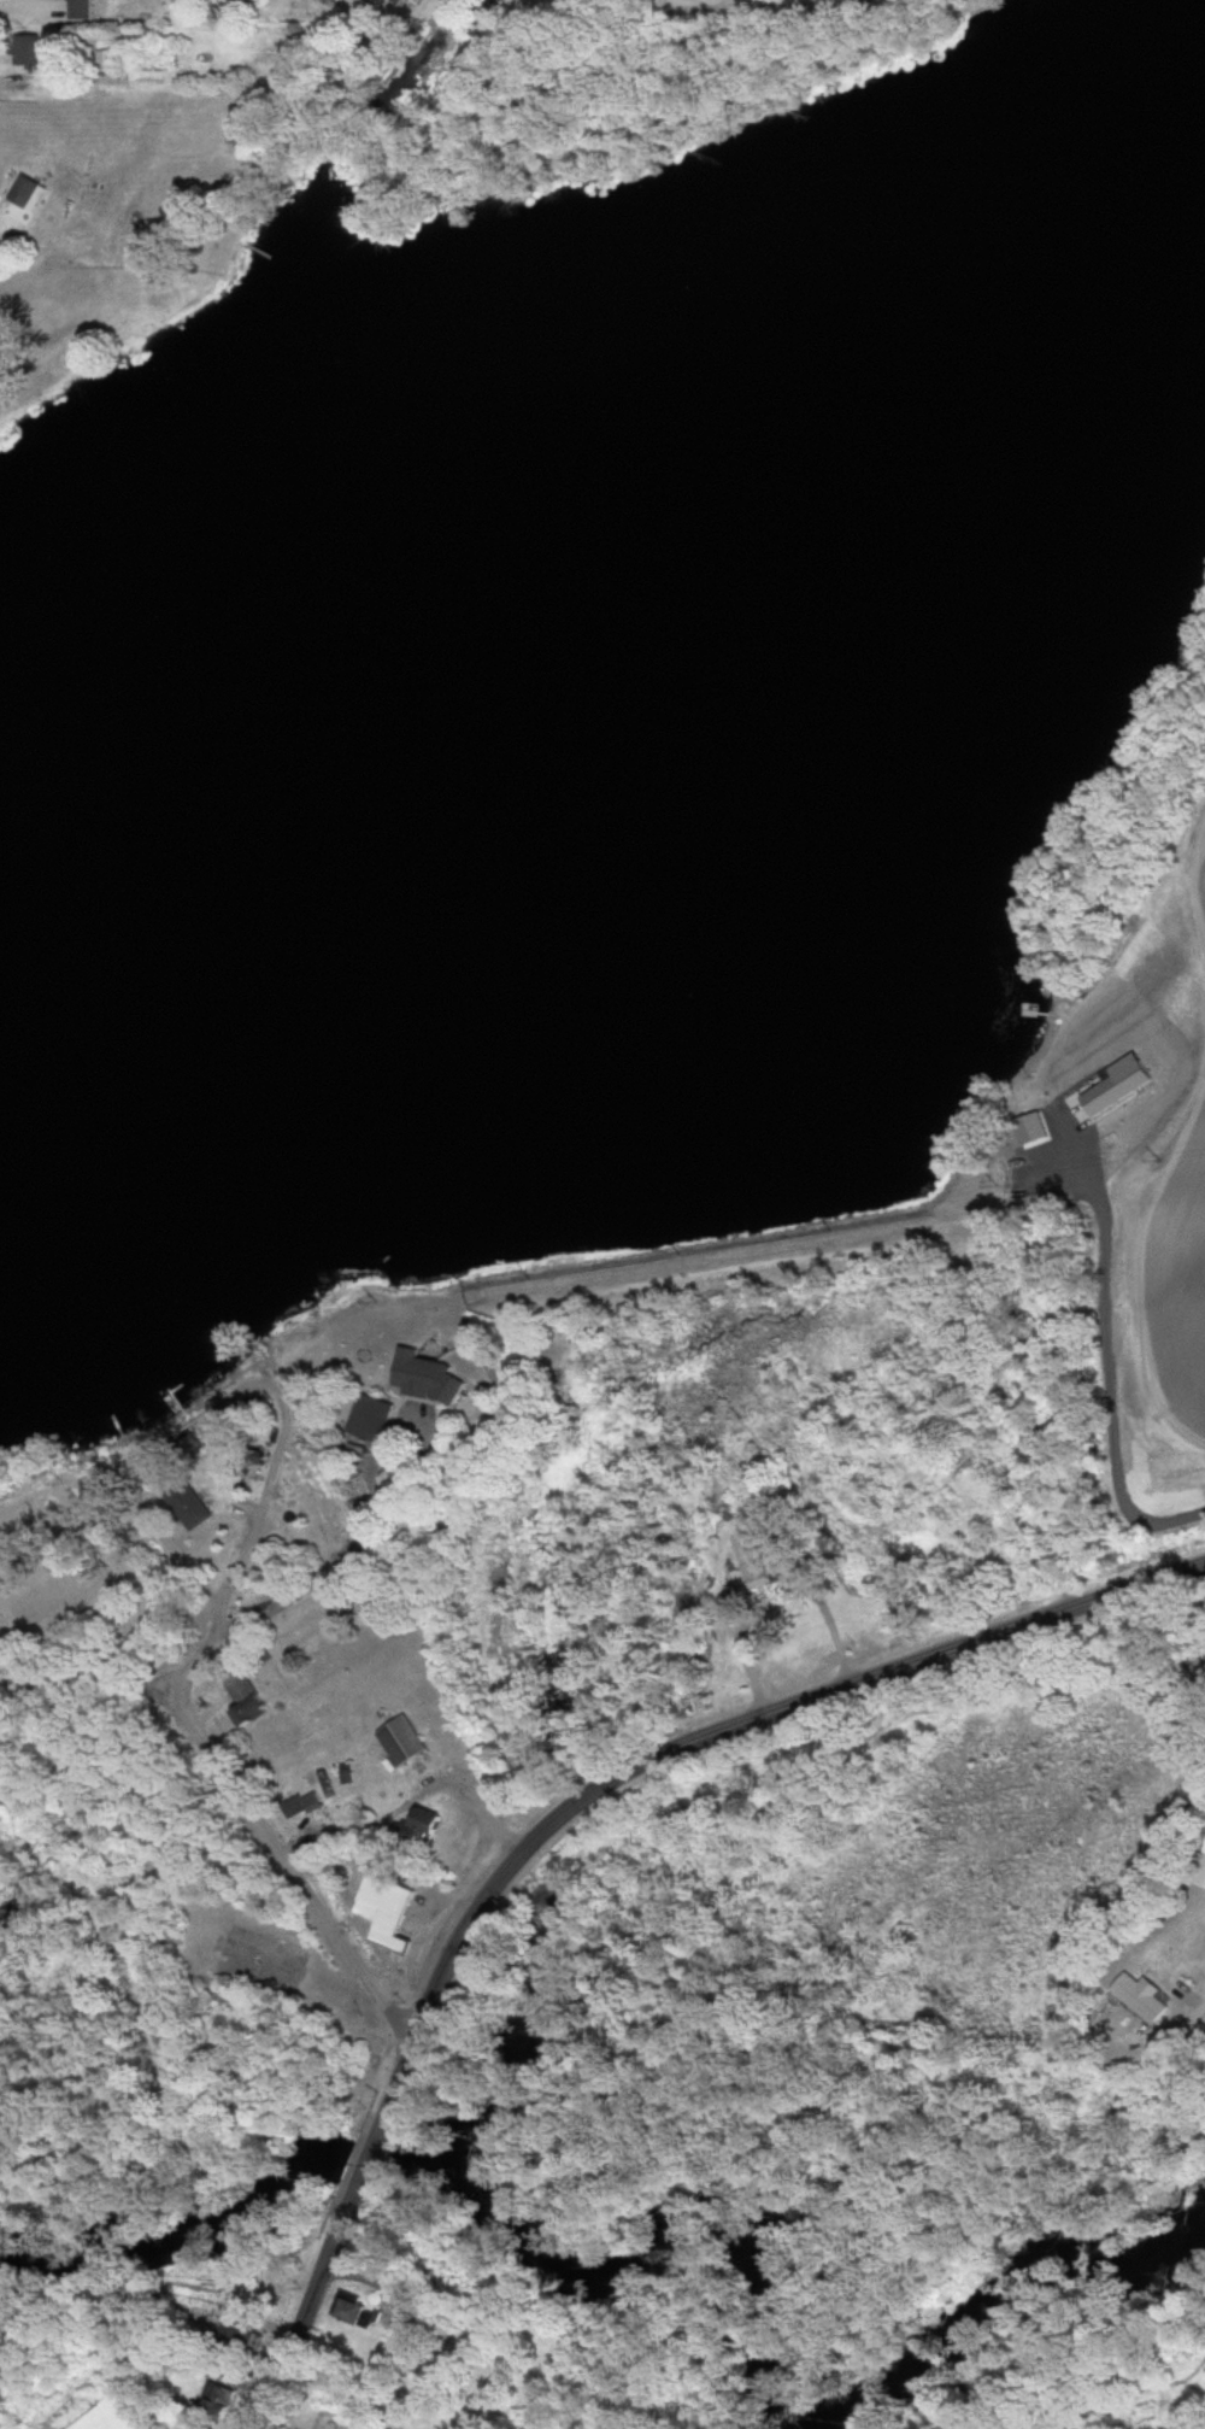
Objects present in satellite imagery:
building: (406, 0)
building: (81, 4)
road: (736, 11)
building: (29, 49)
building: (111, 60)
building: (28, 193)
river: (631, 639)
building: (451, 1389)
road: (392, 1469)
building: (192, 1508)
building: (745, 1577)
road: (223, 1579)
road: (277, 1612)
road: (972, 1643)
road: (87, 1679)
building: (254, 1709)
building: (404, 1741)
road: (471, 1802)
building: (305, 1803)
building: (427, 1824)
road: (502, 1866)
road: (287, 1867)
building: (384, 1911)
building: (1146, 1997)
road: (1198, 2005)
road: (355, 2182)
river: (682, 2228)
building: (354, 2311)
building: (245, 2336)
road: (295, 2339)
building: (218, 2402)
building: (117, 2416)

